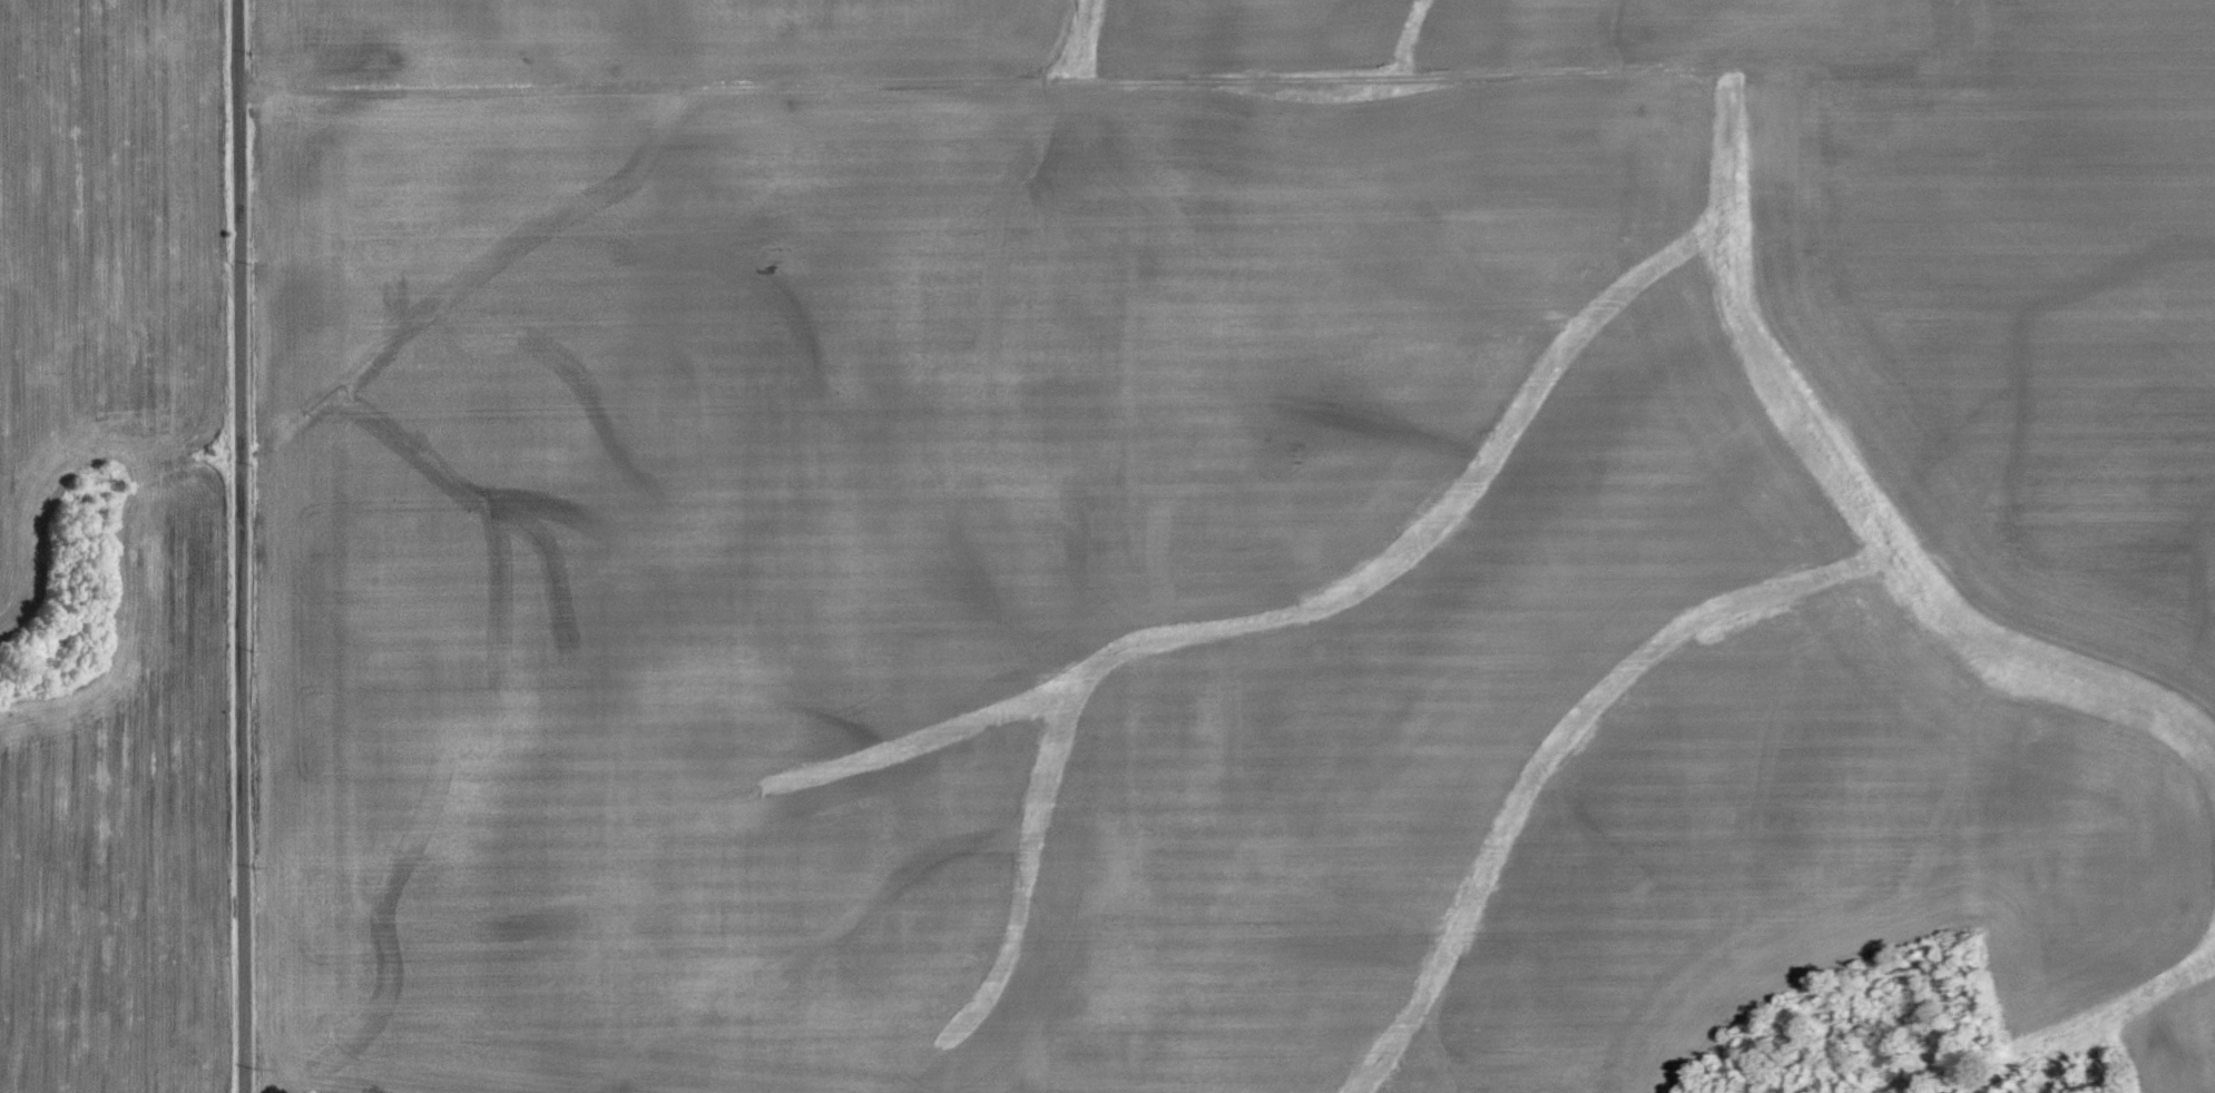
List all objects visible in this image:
road: (238, 546)

